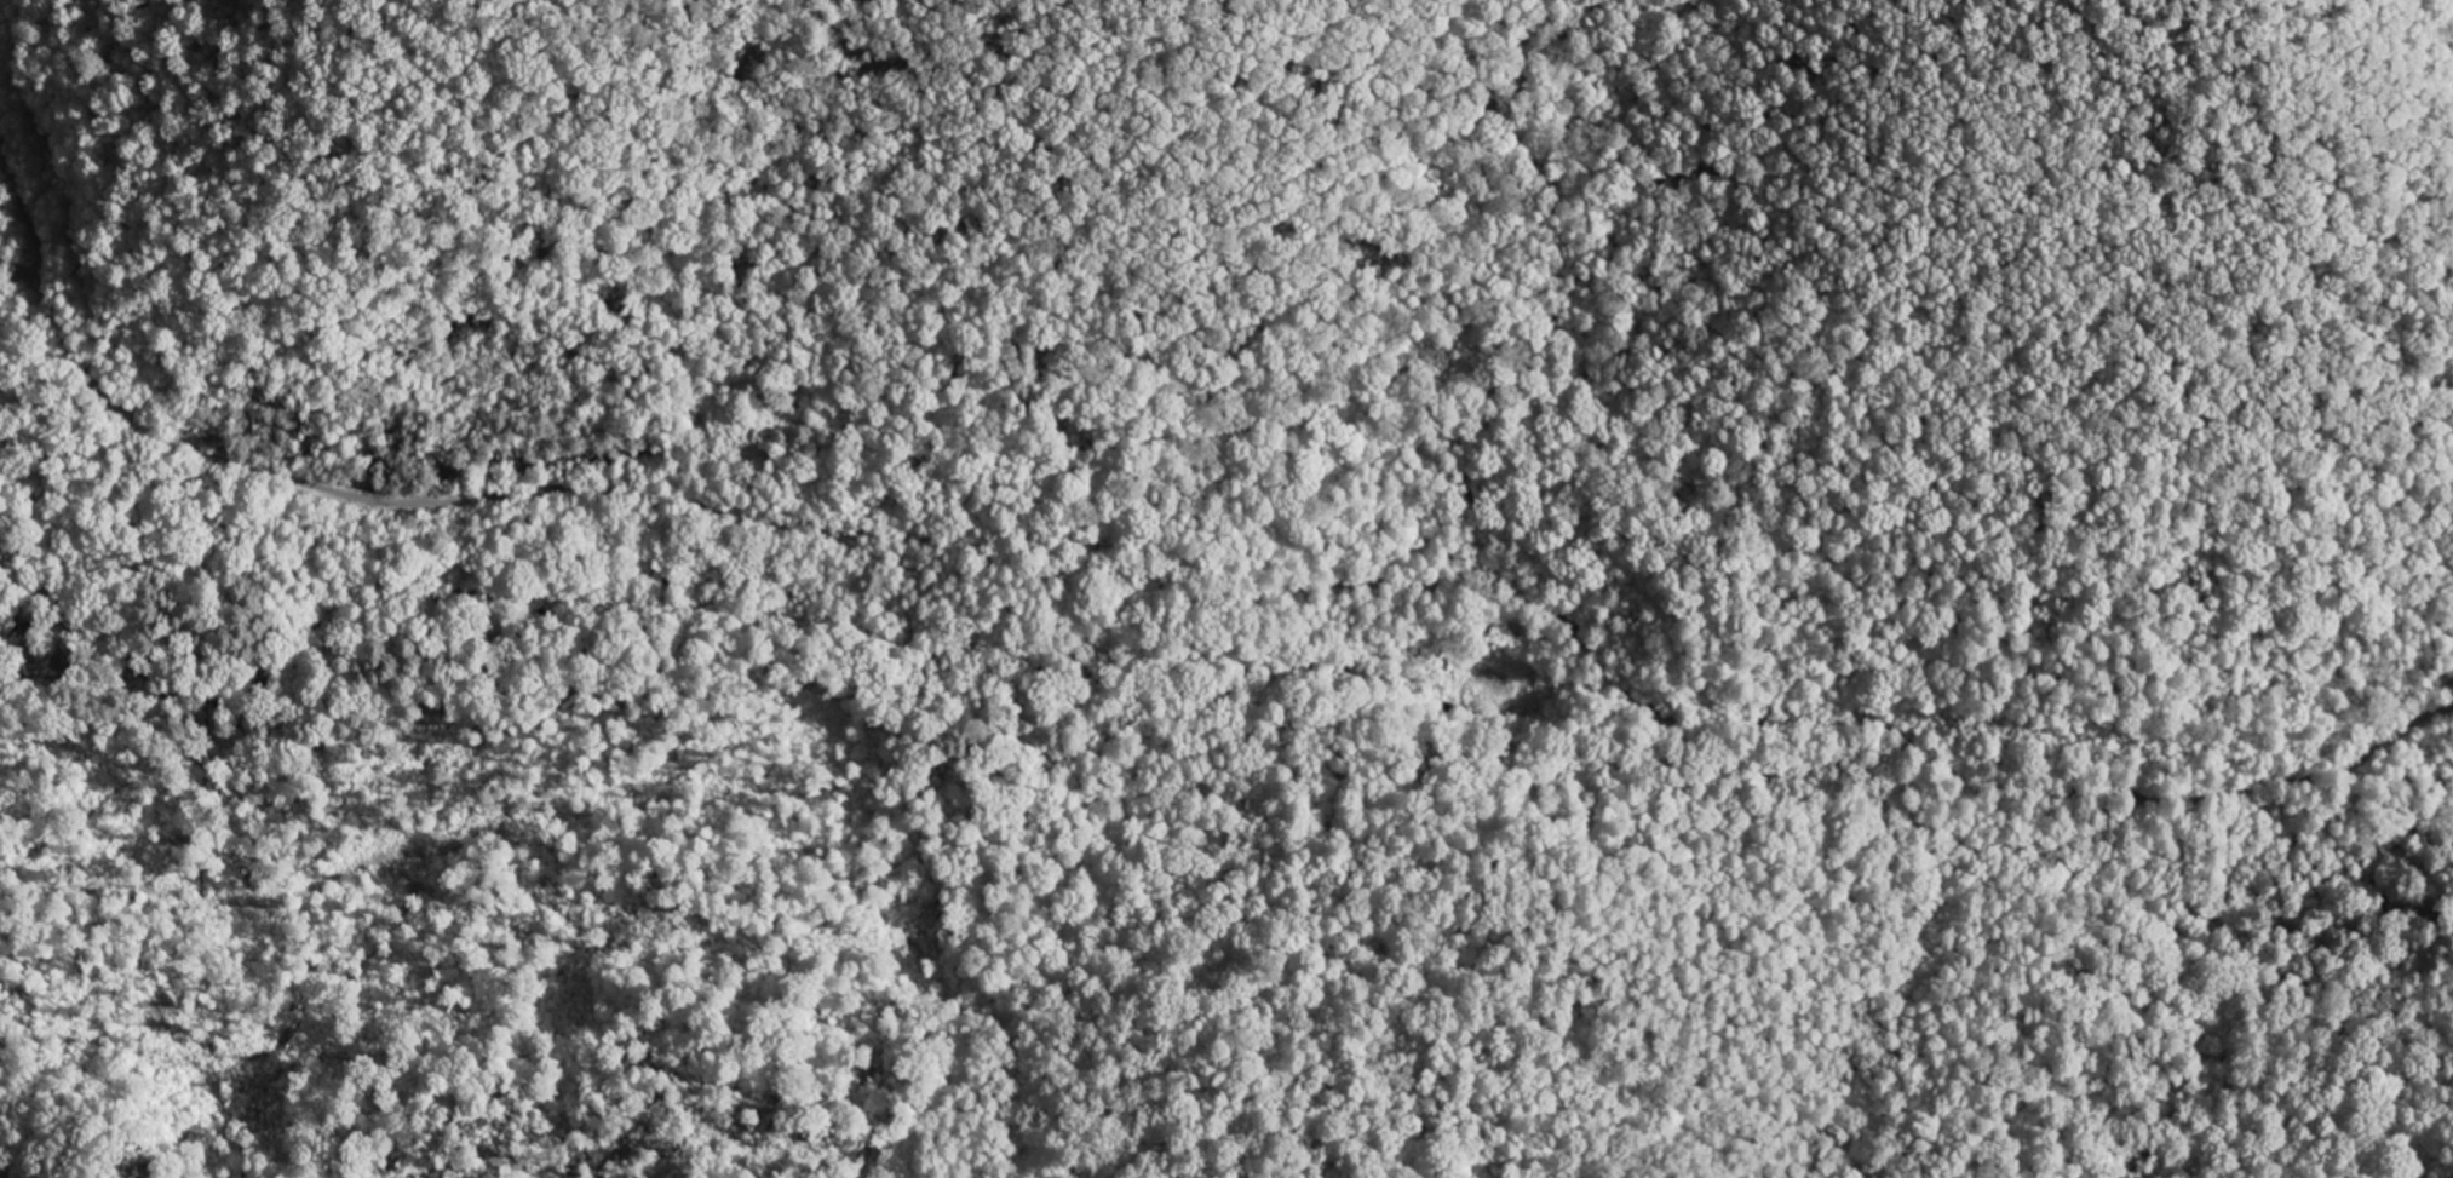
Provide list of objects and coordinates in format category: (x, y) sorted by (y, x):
road: (31, 213)

